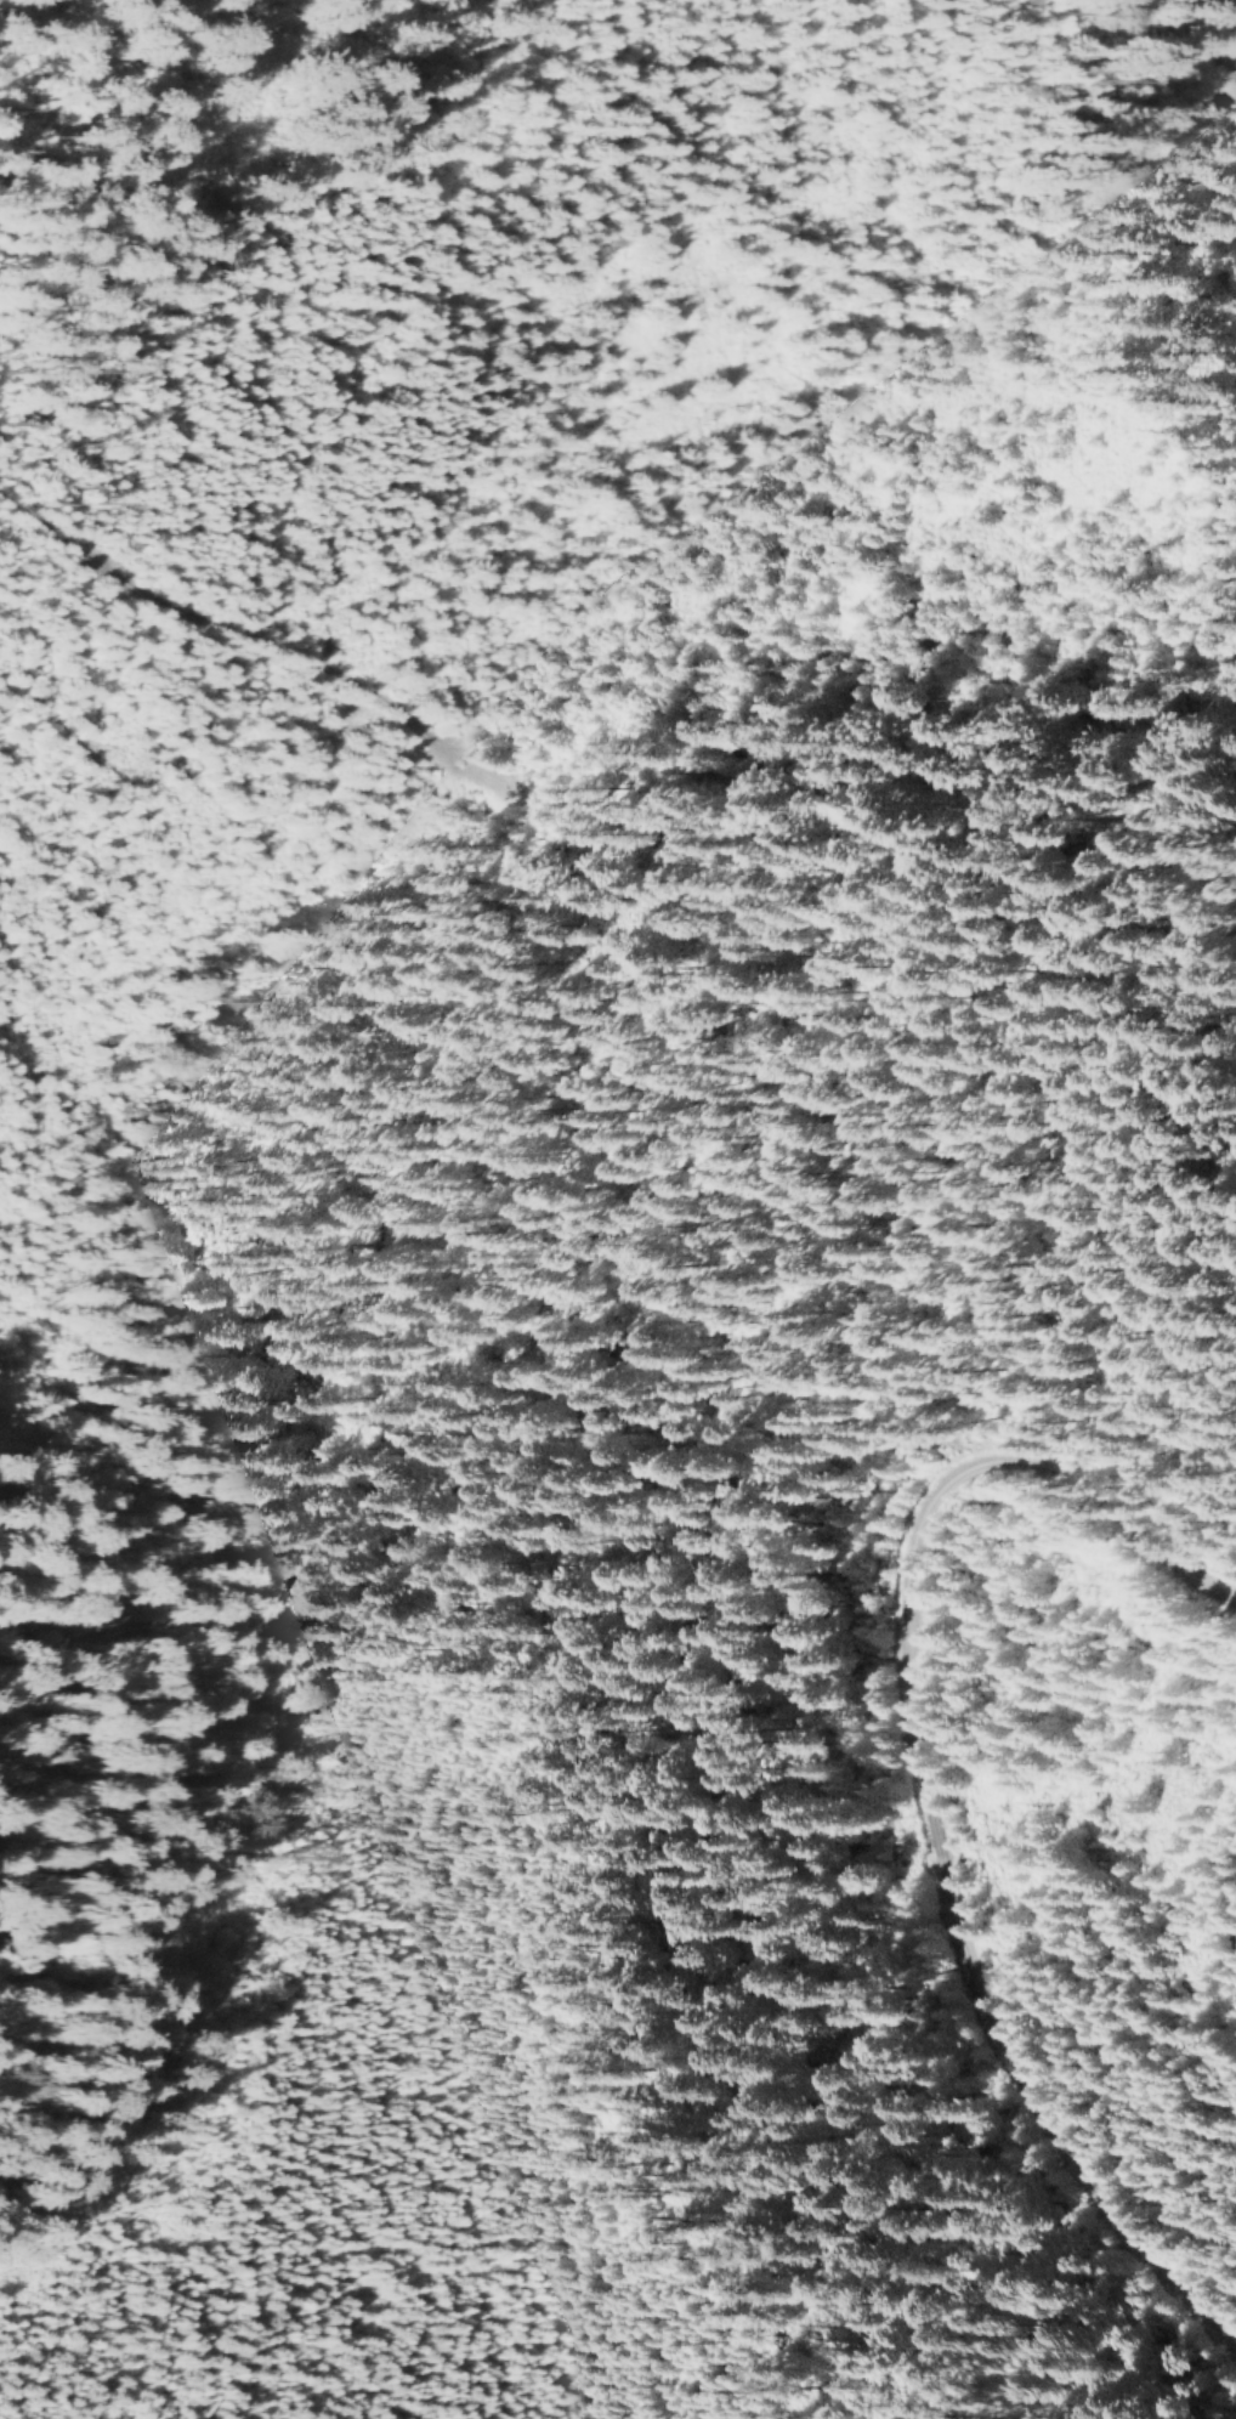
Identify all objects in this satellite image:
road: (262, 209)
road: (229, 634)
road: (930, 1789)

